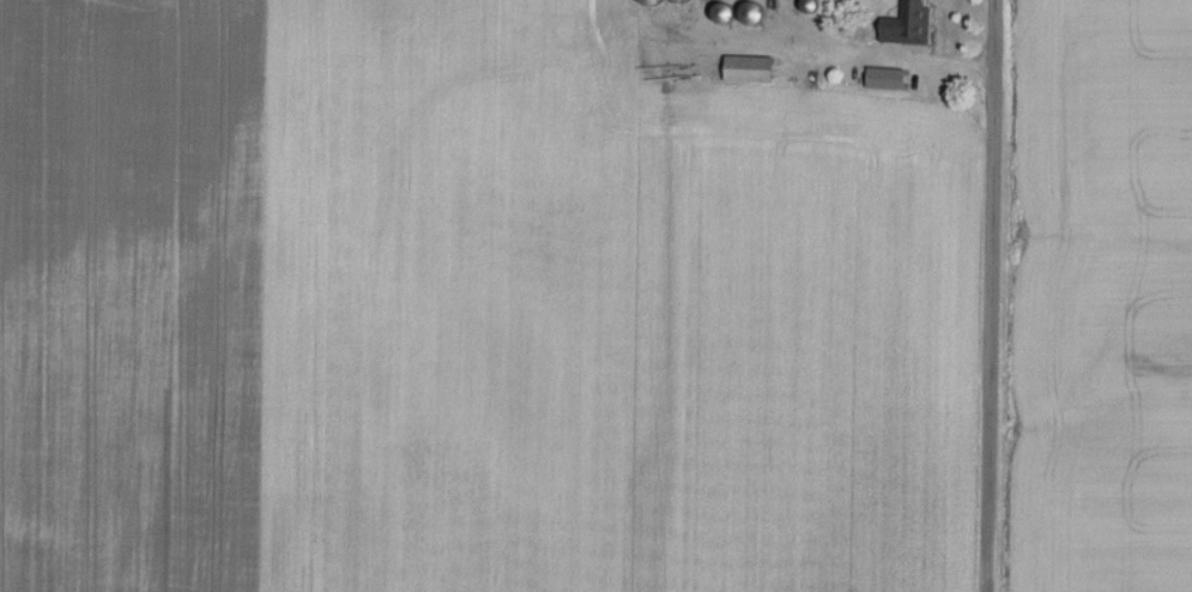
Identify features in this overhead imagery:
building: (910, 26)
road: (851, 54)
building: (891, 80)
road: (987, 295)

